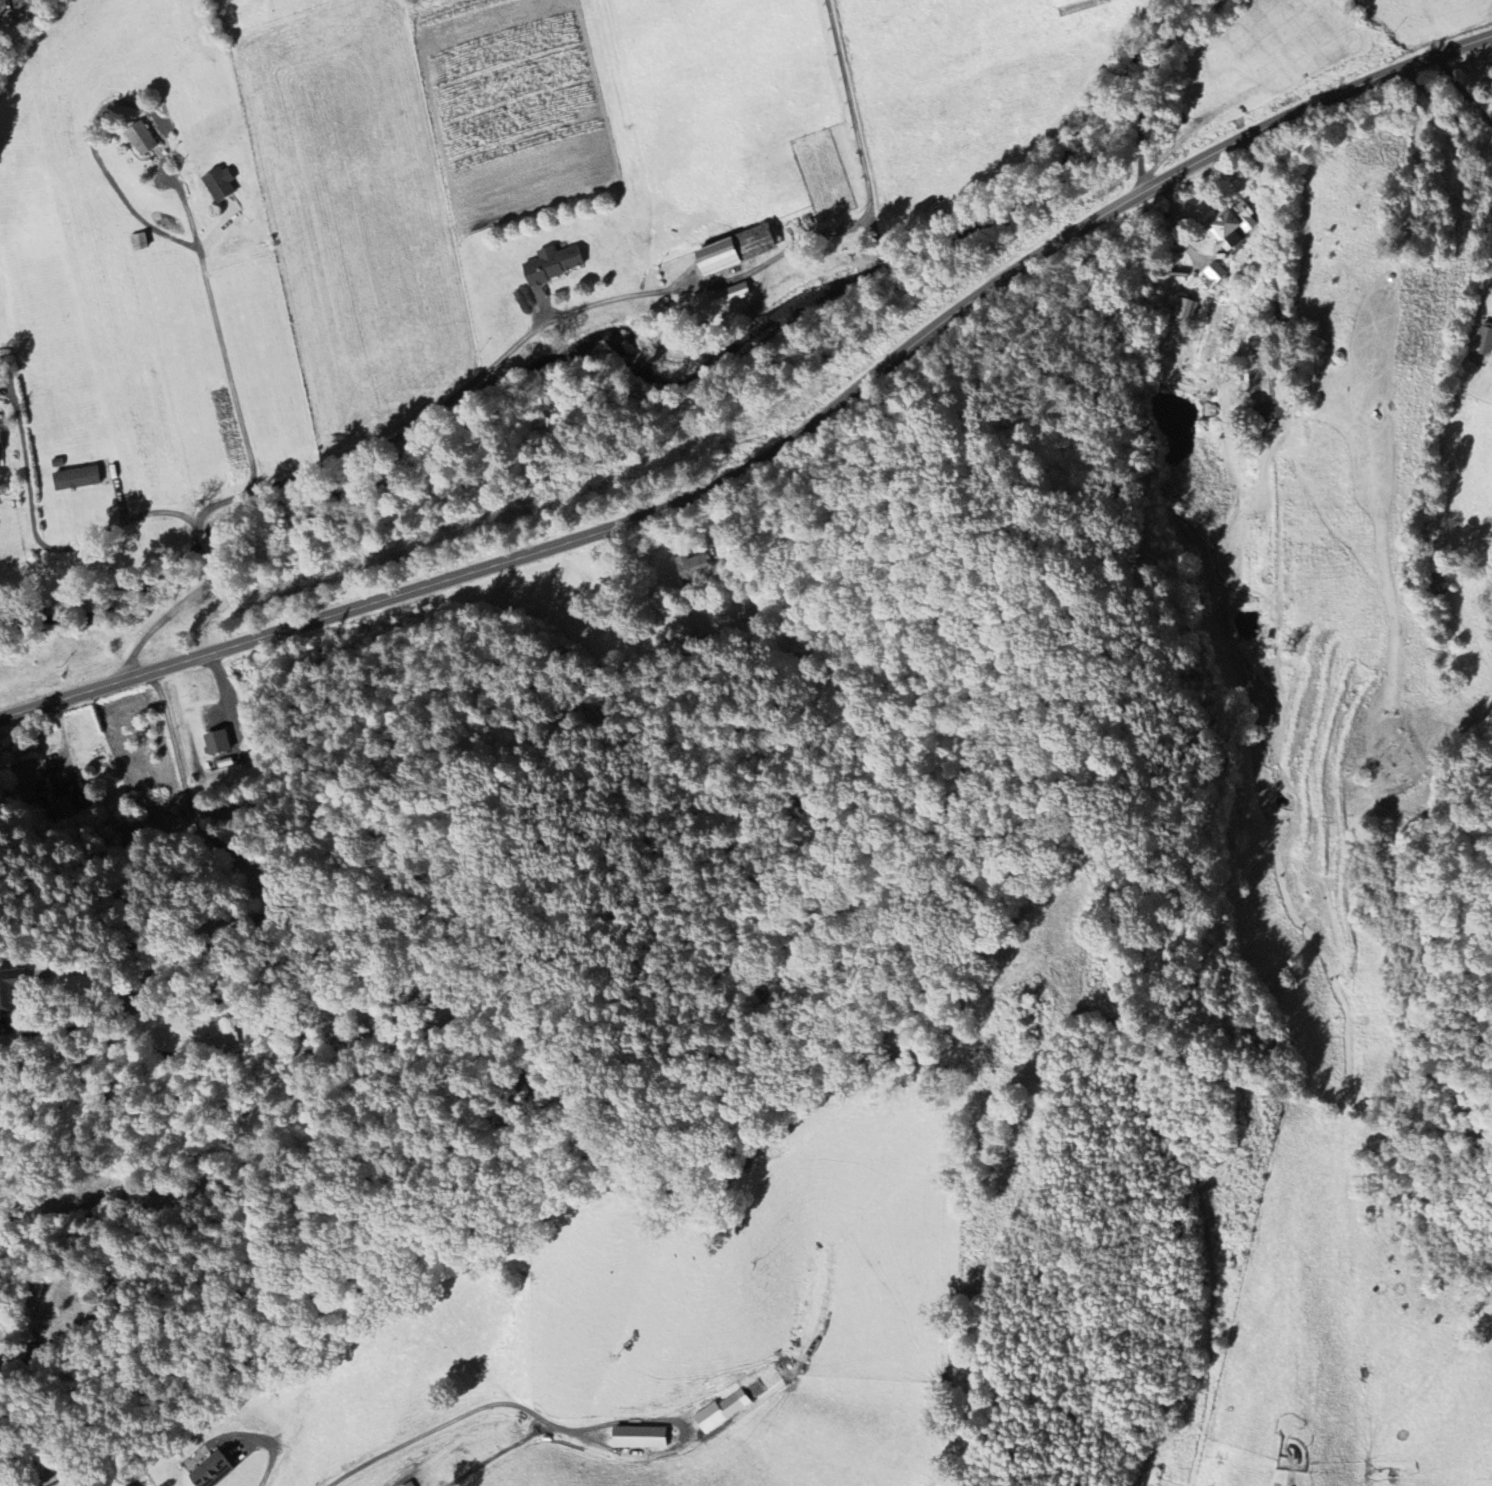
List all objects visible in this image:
building: (1077, 5)
road: (1155, 81)
road: (852, 110)
building: (140, 138)
building: (219, 183)
park: (1411, 190)
building: (1232, 225)
building: (139, 241)
building: (734, 249)
building: (551, 264)
building: (1214, 274)
building: (729, 295)
building: (1184, 313)
road: (550, 325)
building: (1483, 341)
road: (224, 345)
road: (781, 448)
building: (0, 457)
building: (75, 478)
road: (219, 505)
road: (206, 544)
building: (693, 567)
road: (171, 615)
building: (216, 742)
building: (54, 796)
building: (10, 993)
building: (717, 1413)
building: (638, 1438)
road: (274, 1451)
building: (210, 1471)
building: (408, 1484)

